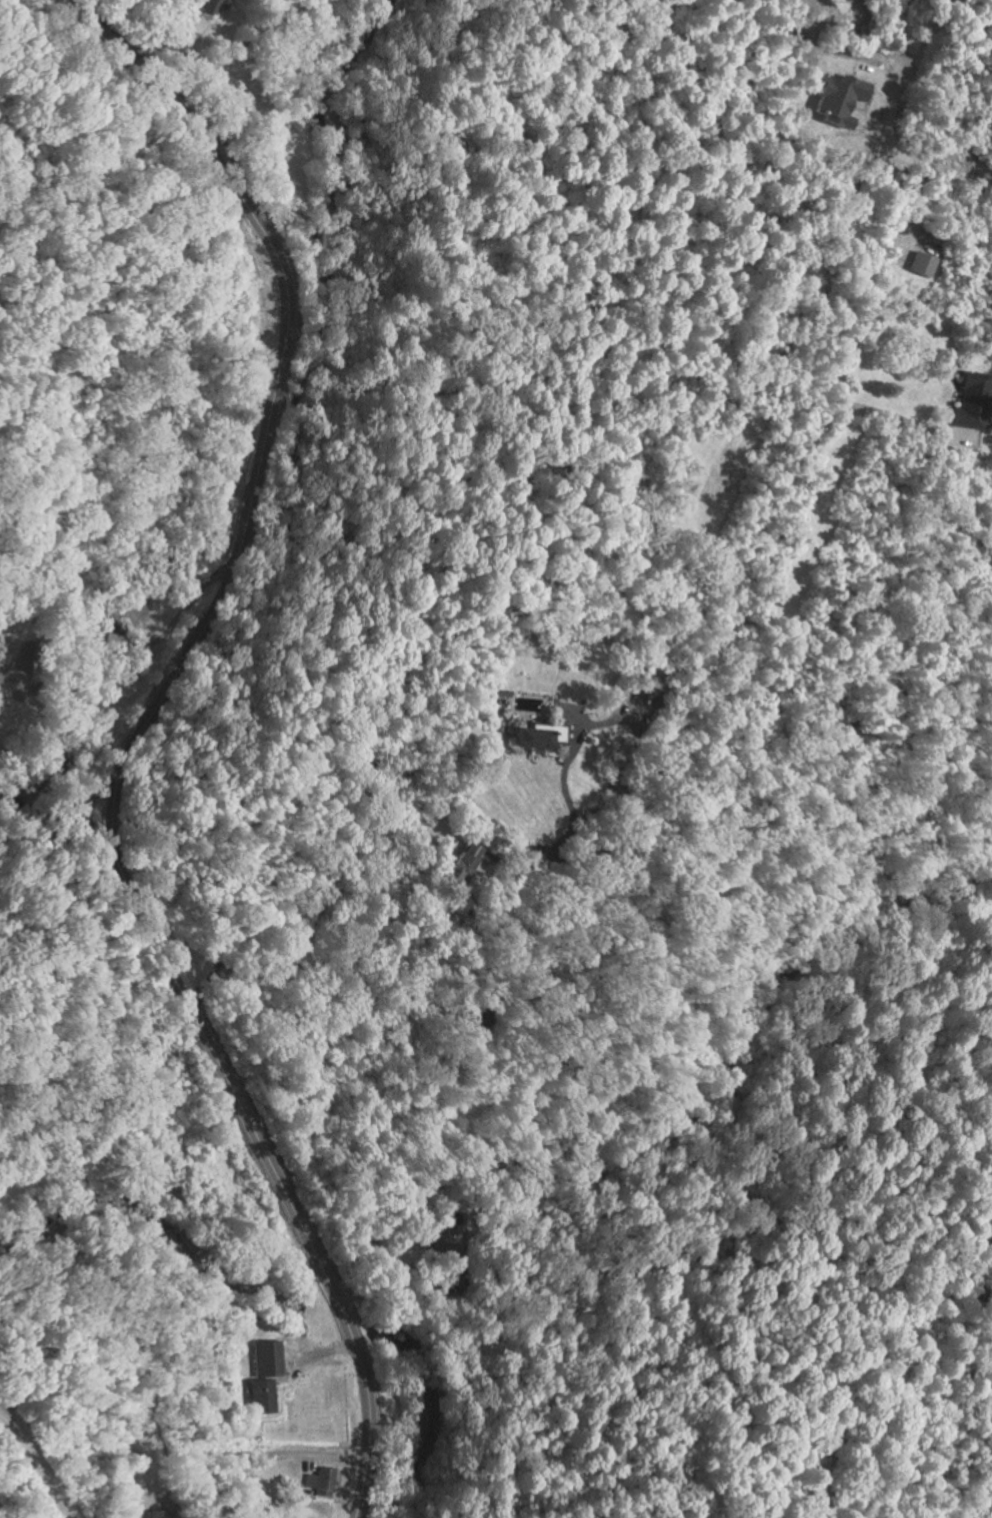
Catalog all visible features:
building: (214, 6)
road: (214, 57)
building: (835, 101)
road: (891, 119)
building: (921, 263)
building: (971, 399)
road: (891, 413)
road: (129, 646)
building: (652, 680)
road: (691, 717)
road: (592, 725)
road: (140, 733)
building: (535, 737)
road: (209, 980)
road: (392, 1291)
road: (323, 1351)
building: (266, 1357)
road: (274, 1455)
road: (36, 1465)

